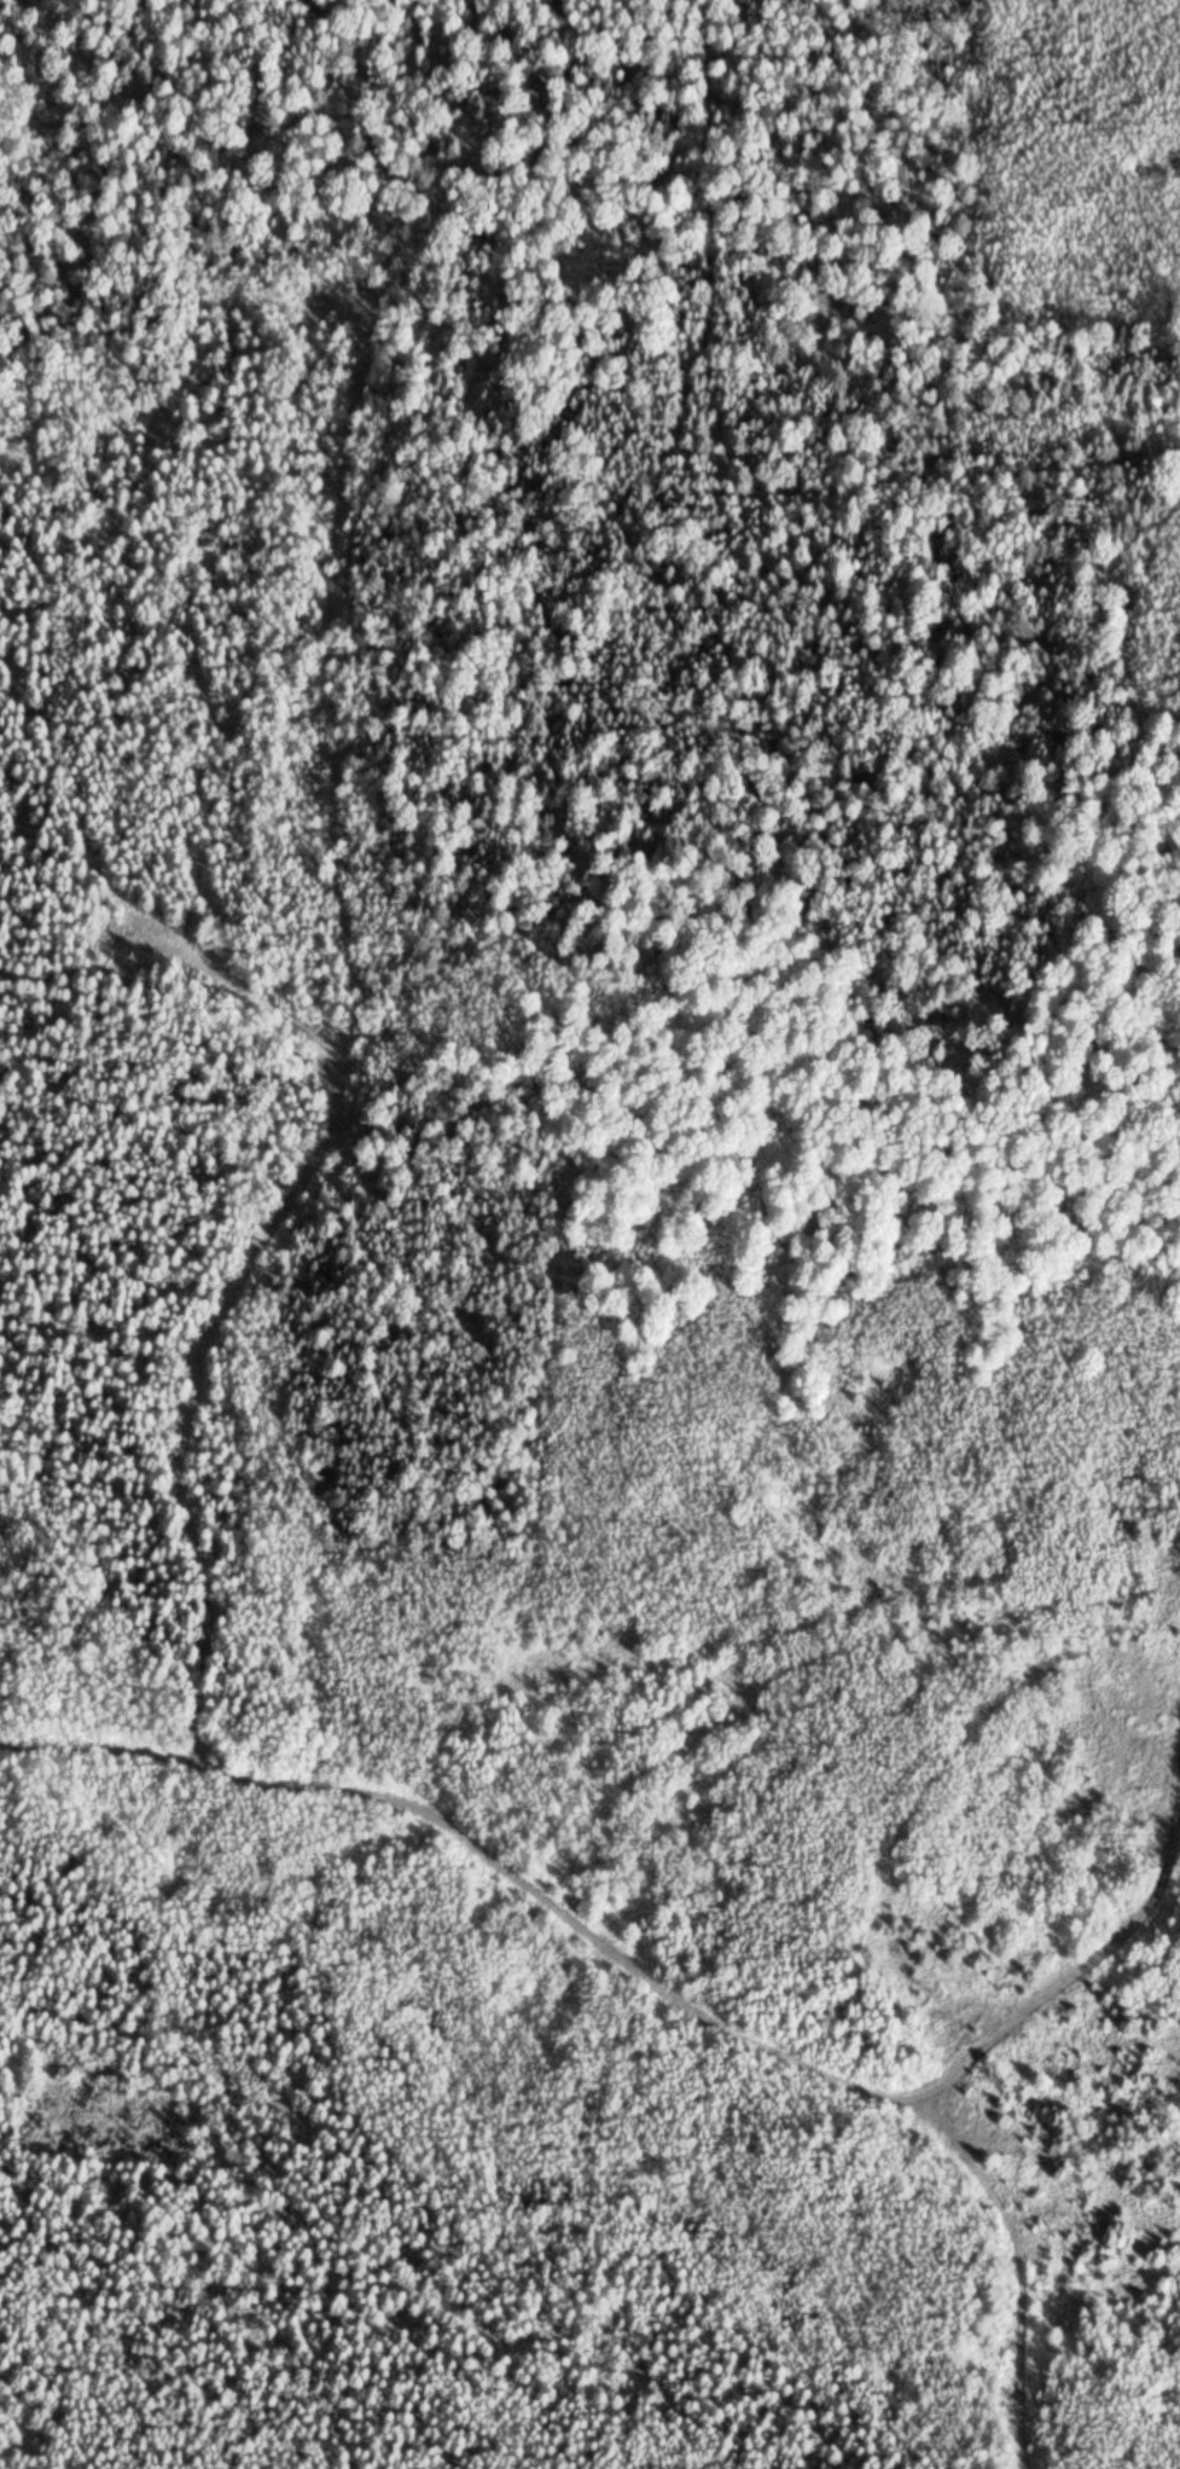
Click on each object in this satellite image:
road: (1114, 1932)

